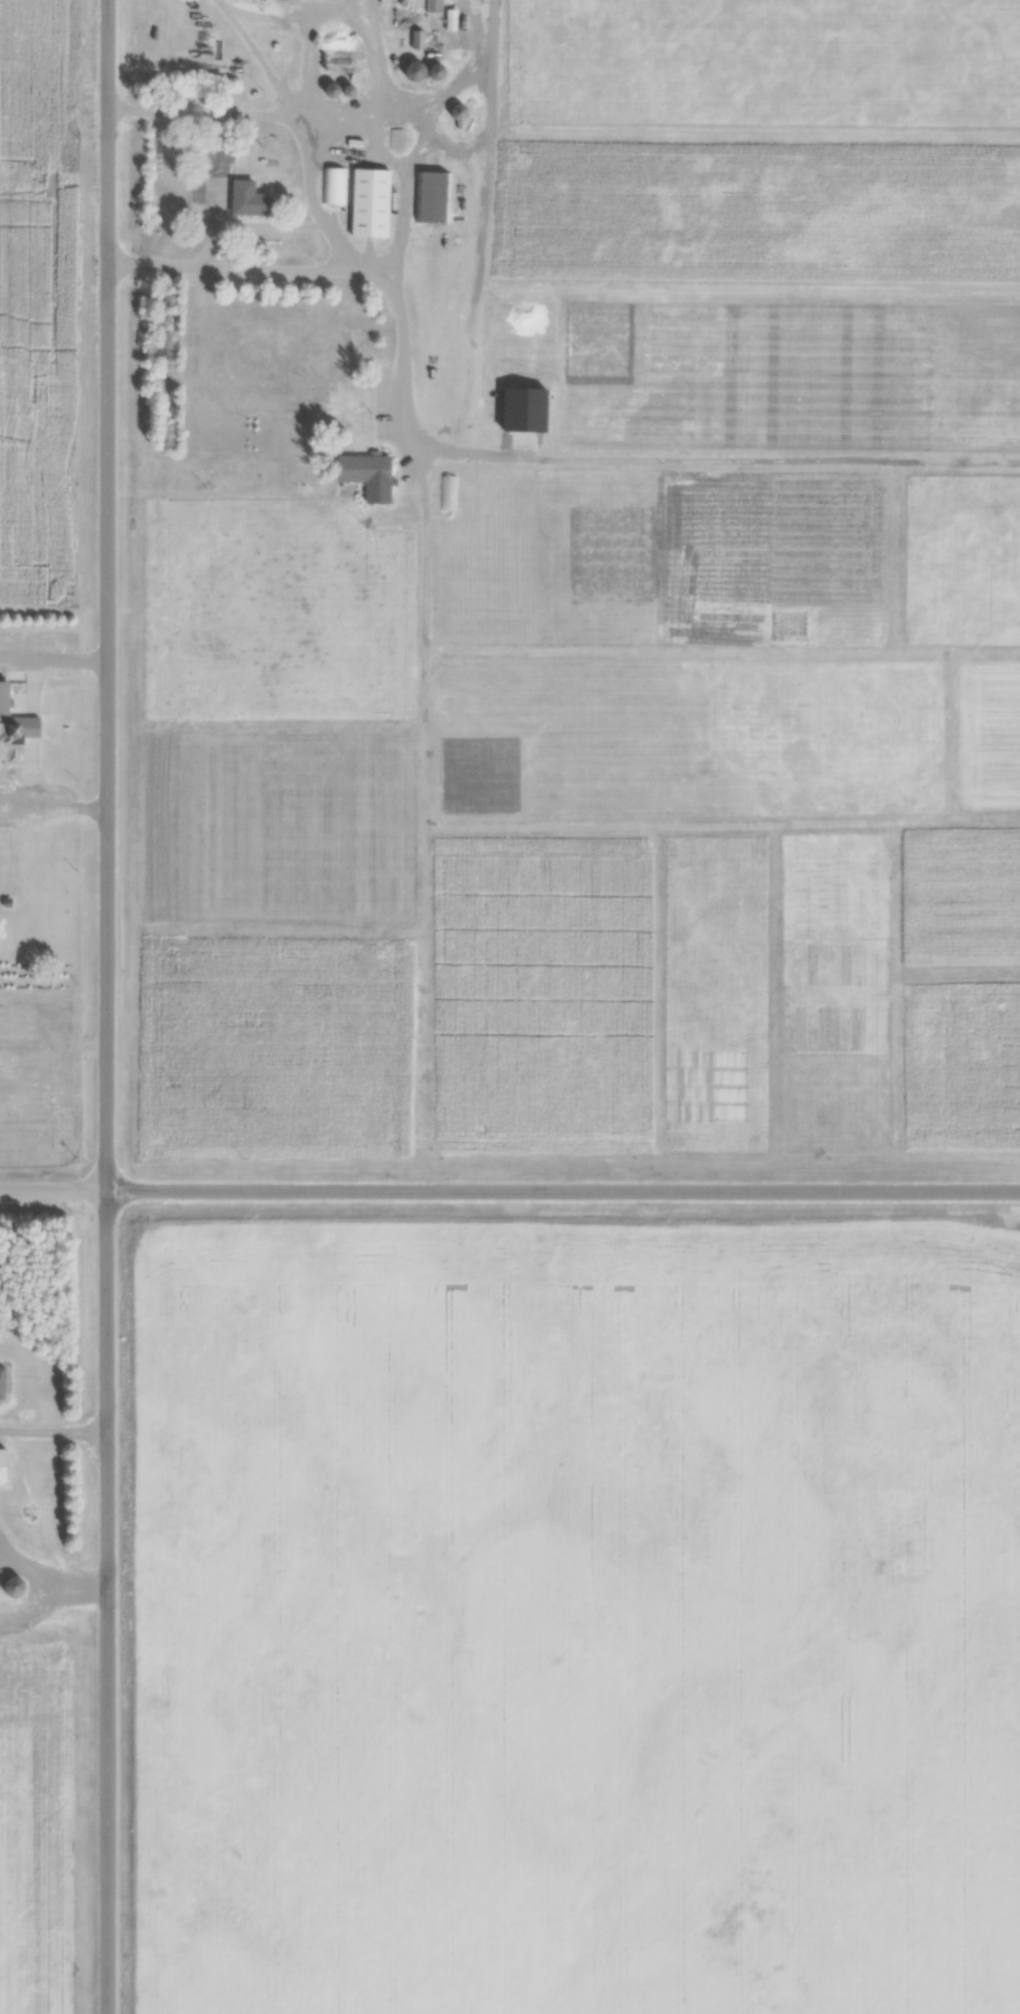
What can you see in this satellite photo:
building: (435, 6)
building: (452, 20)
building: (419, 39)
road: (317, 47)
building: (416, 71)
building: (438, 73)
road: (331, 107)
building: (460, 113)
road: (382, 146)
building: (334, 186)
road: (410, 191)
road: (316, 194)
building: (433, 198)
building: (249, 199)
building: (372, 203)
road: (351, 268)
building: (369, 475)
road: (53, 680)
building: (15, 730)
road: (53, 797)
road: (106, 1007)
road: (53, 1188)
road: (562, 1189)
building: (3, 1380)
road: (52, 1431)
building: (4, 1466)
road: (50, 1578)
building: (15, 1589)
road: (35, 1610)

